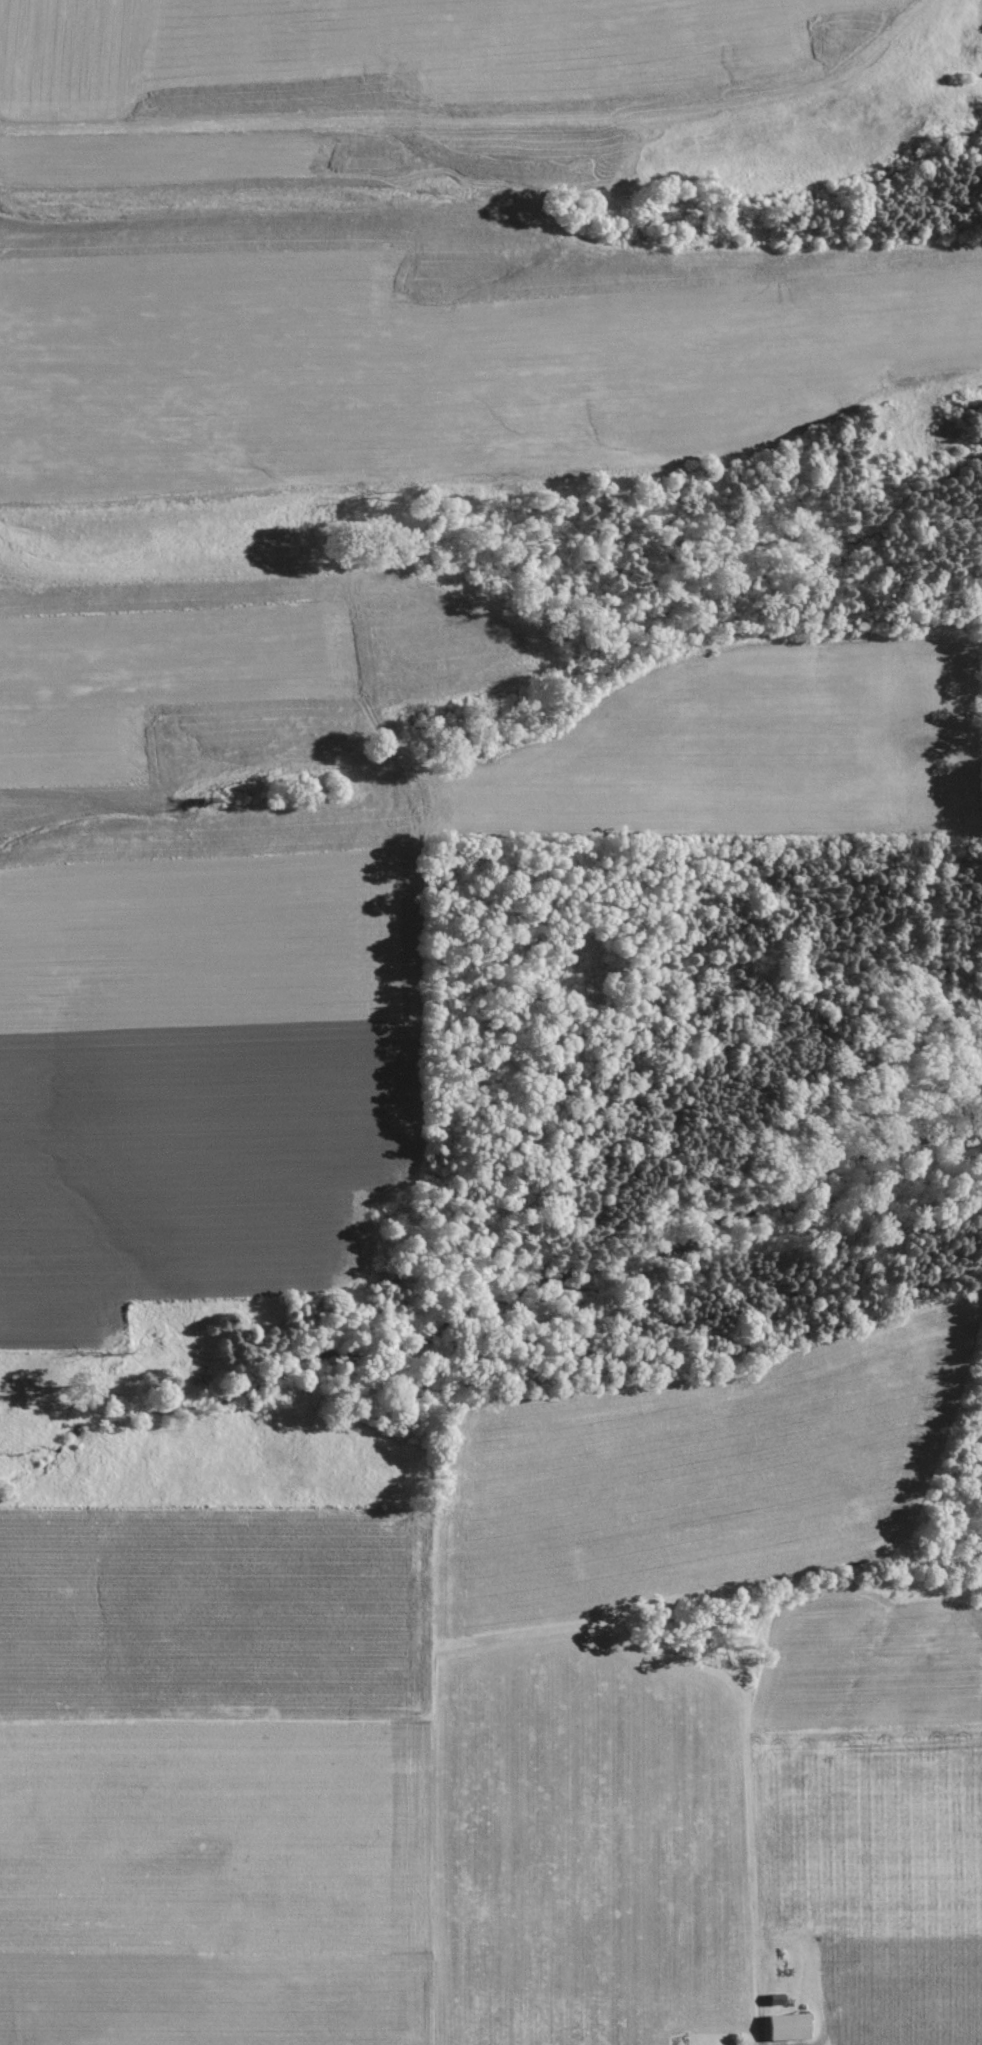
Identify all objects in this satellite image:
crop: (215, 1841)
crop: (215, 2001)
building: (787, 2026)

